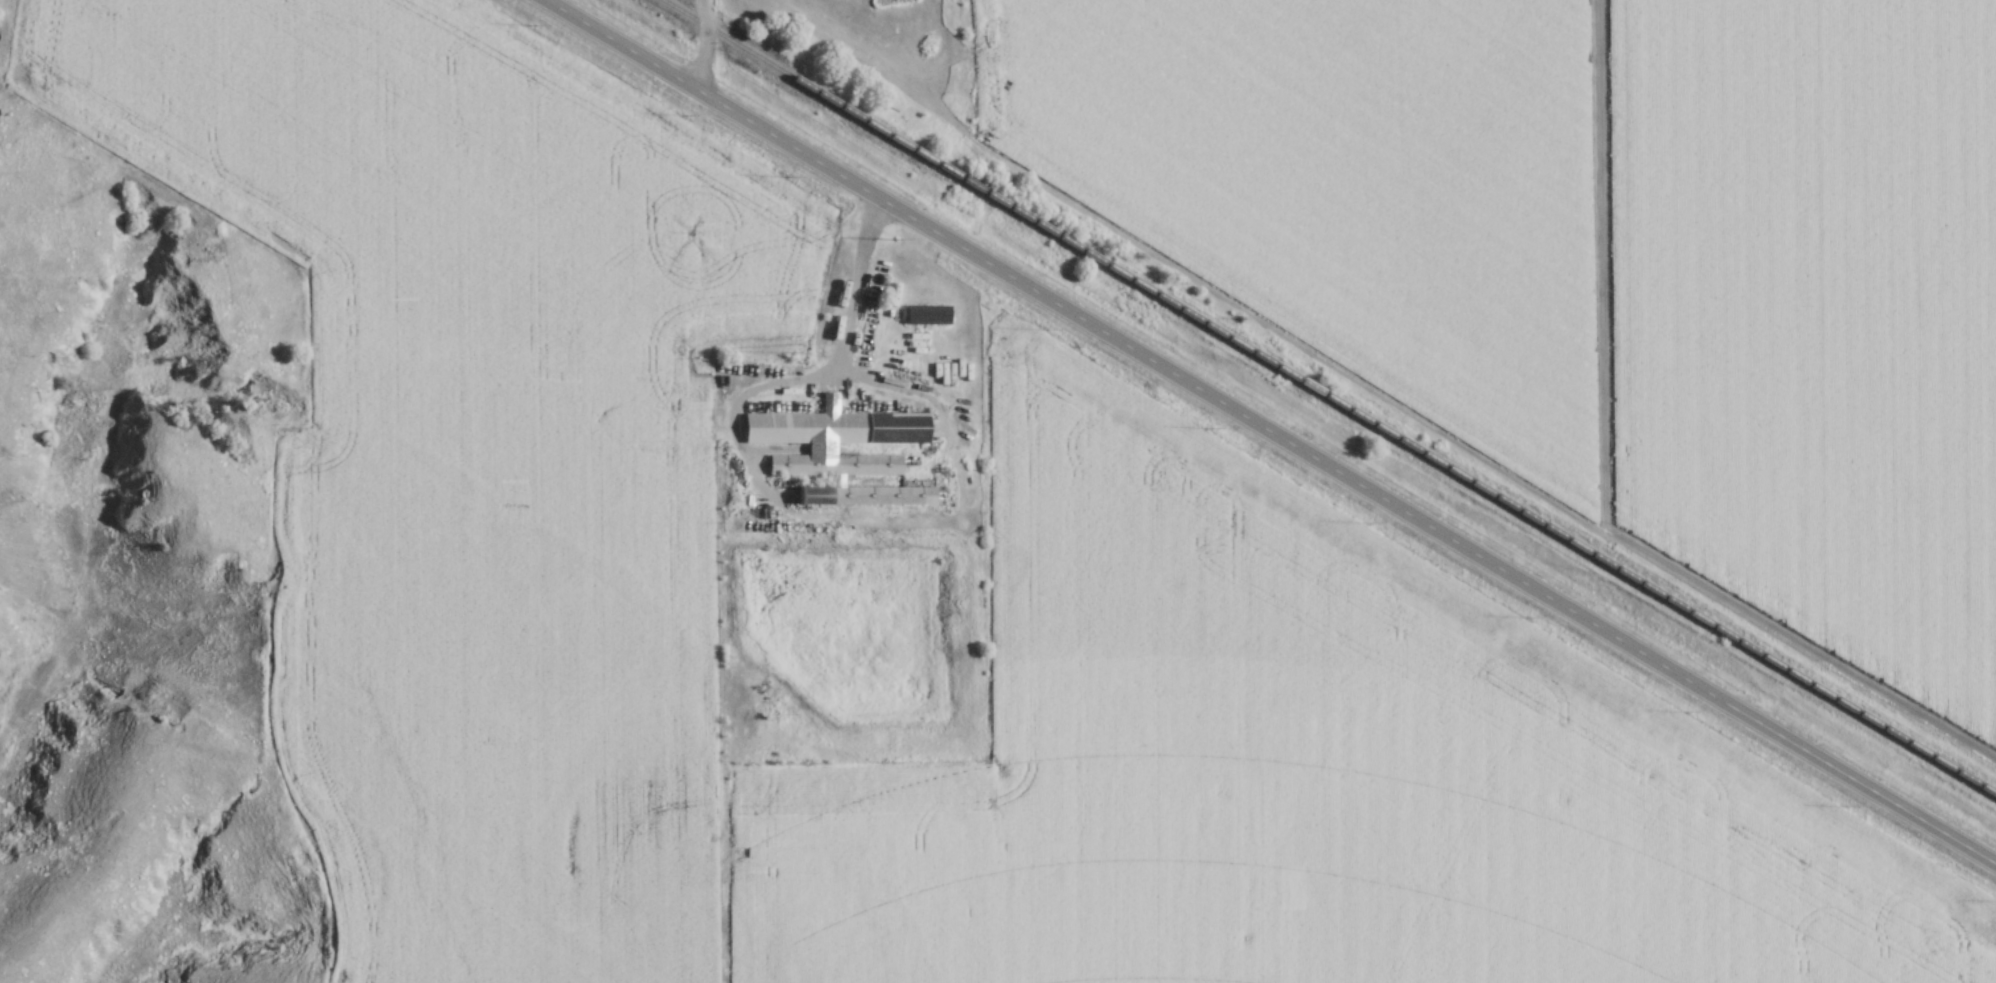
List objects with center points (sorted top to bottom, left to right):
railway: (673, 11)
road: (705, 15)
road: (703, 61)
building: (926, 315)
railway: (1343, 410)
road: (1268, 435)
building: (821, 450)
crop: (468, 455)

